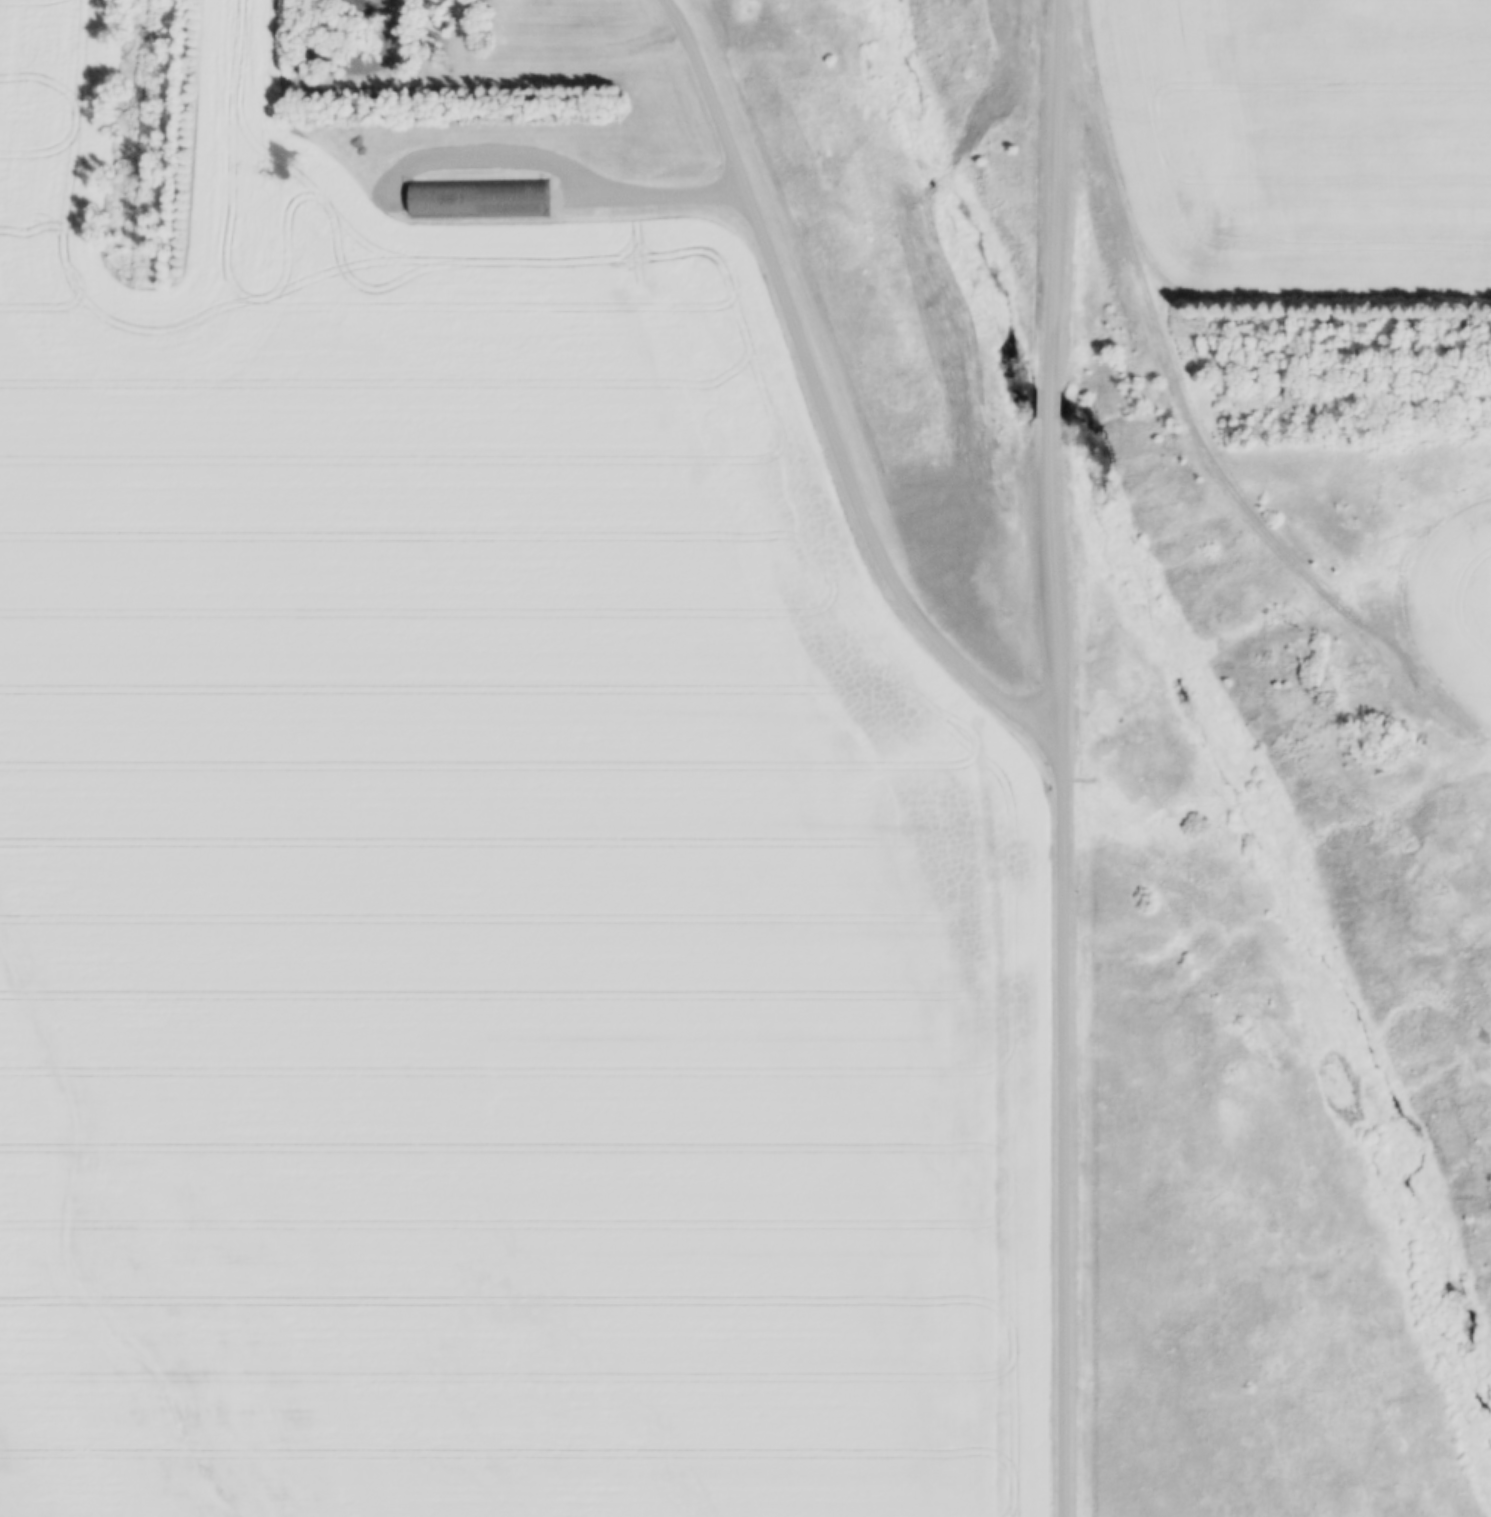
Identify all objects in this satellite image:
road: (653, 187)
road: (1058, 193)
building: (479, 200)
road: (825, 393)
road: (1055, 401)
road: (1189, 405)
building: (1361, 675)
building: (1418, 738)
road: (1065, 965)

